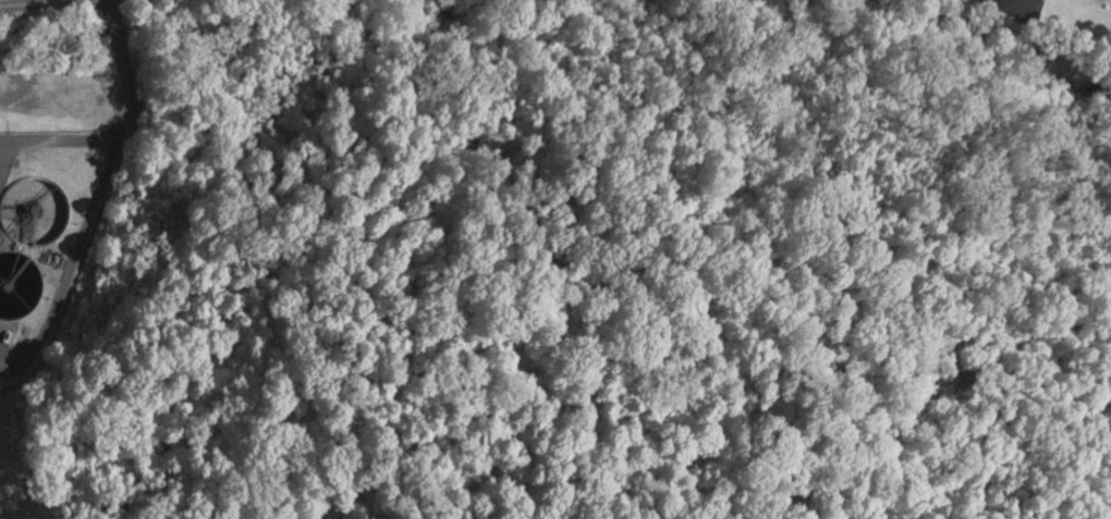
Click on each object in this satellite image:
road: (29, 4)
building: (1018, 8)
road: (132, 131)

